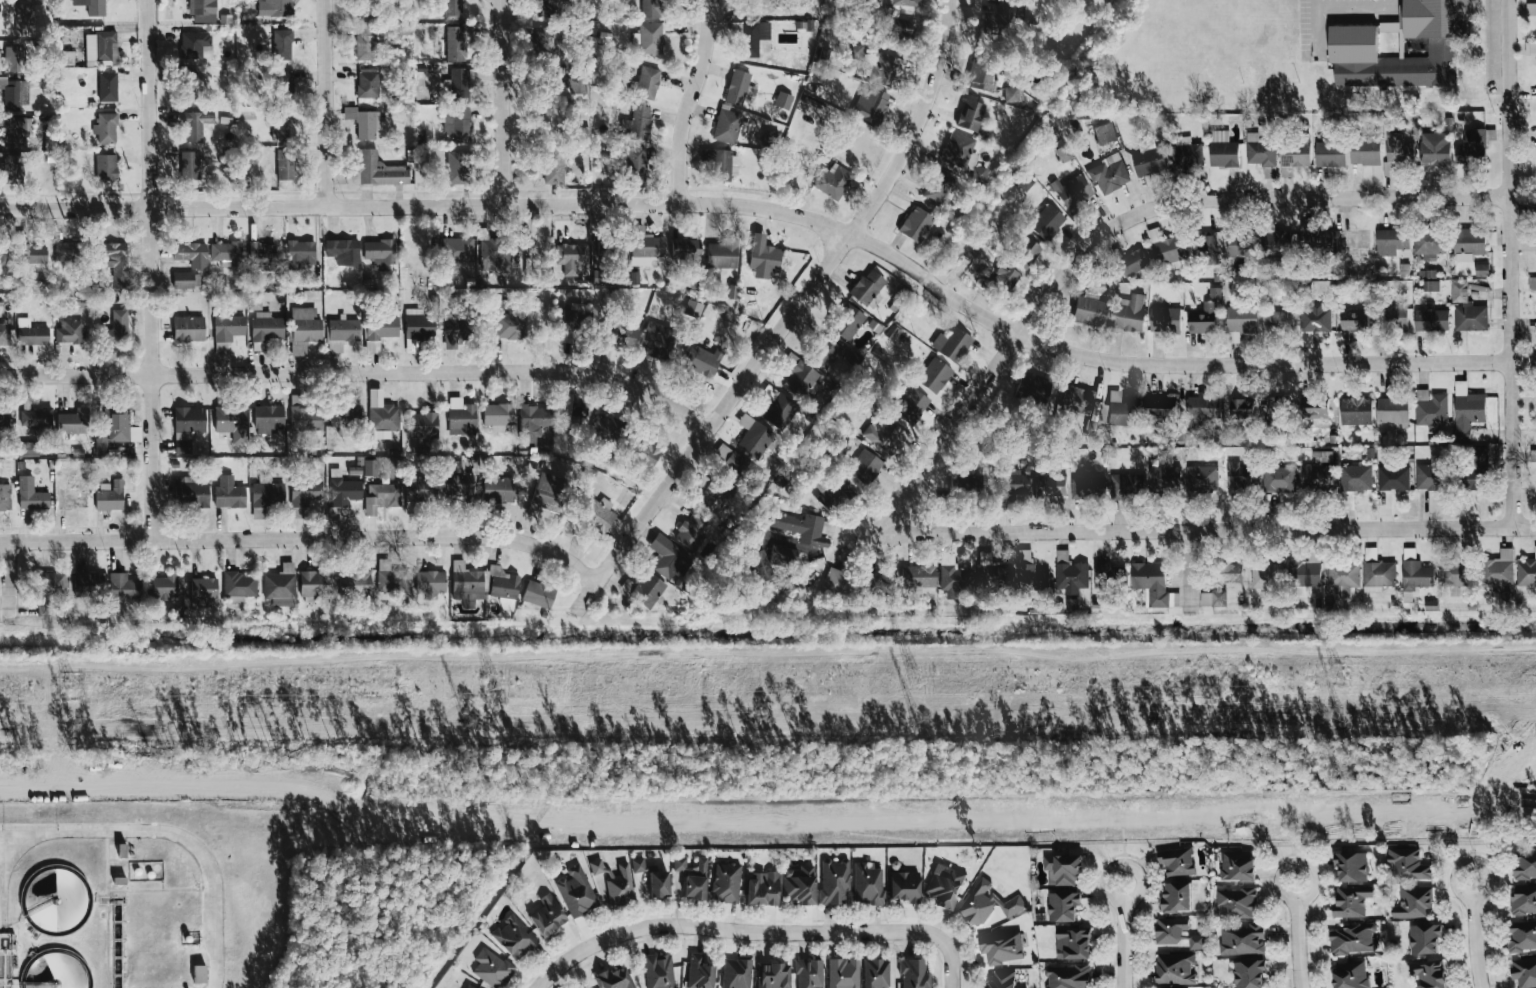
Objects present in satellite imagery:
building: (901, 2)
building: (644, 3)
building: (95, 7)
building: (272, 8)
road: (1354, 8)
building: (451, 9)
building: (1014, 11)
building: (24, 18)
building: (987, 25)
building: (1387, 27)
building: (900, 29)
building: (750, 37)
building: (647, 38)
building: (366, 41)
building: (538, 41)
building: (279, 43)
building: (452, 43)
building: (196, 45)
building: (100, 48)
building: (1348, 48)
building: (15, 59)
building: (978, 77)
building: (280, 80)
building: (576, 80)
building: (453, 81)
building: (645, 81)
building: (365, 82)
building: (735, 86)
building: (109, 87)
building: (1012, 93)
building: (15, 94)
building: (781, 99)
road: (690, 101)
road: (327, 103)
road: (502, 103)
building: (865, 104)
building: (347, 112)
building: (968, 114)
building: (192, 123)
building: (454, 123)
building: (635, 123)
building: (364, 124)
building: (725, 125)
building: (102, 127)
building: (15, 132)
building: (1103, 132)
building: (1471, 143)
building: (1396, 148)
building: (1431, 148)
building: (1220, 149)
building: (1258, 151)
building: (1292, 151)
building: (1361, 151)
building: (1185, 153)
building: (1327, 153)
building: (961, 155)
building: (1146, 161)
building: (630, 163)
building: (10, 164)
building: (187, 164)
building: (551, 164)
building: (721, 164)
building: (103, 165)
building: (377, 169)
building: (1284, 171)
building: (1107, 173)
building: (830, 180)
building: (931, 186)
building: (1069, 192)
road: (775, 211)
building: (1045, 221)
building: (913, 224)
road: (1119, 228)
building: (1319, 240)
building: (1389, 241)
building: (1427, 242)
building: (1466, 242)
building: (1232, 244)
building: (643, 246)
building: (1206, 246)
building: (1160, 247)
building: (682, 248)
building: (338, 249)
building: (224, 250)
building: (258, 252)
building: (378, 252)
building: (1022, 252)
building: (28, 253)
building: (188, 253)
building: (297, 253)
building: (455, 253)
building: (760, 253)
building: (718, 254)
building: (495, 255)
building: (569, 256)
building: (110, 258)
building: (1131, 262)
road: (1512, 263)
road: (153, 268)
building: (180, 279)
building: (1000, 280)
building: (1427, 280)
building: (1530, 283)
building: (865, 286)
building: (1458, 291)
building: (0, 300)
building: (252, 303)
building: (691, 308)
building: (1086, 310)
building: (1127, 312)
building: (1313, 317)
building: (1238, 318)
building: (1469, 318)
building: (1163, 319)
building: (1351, 319)
building: (1429, 319)
building: (1275, 320)
building: (845, 321)
building: (508, 323)
building: (416, 324)
building: (449, 324)
building: (225, 326)
building: (264, 326)
building: (113, 327)
building: (186, 328)
building: (302, 328)
building: (342, 329)
road: (782, 329)
building: (377, 330)
building: (67, 331)
building: (28, 332)
building: (3, 334)
building: (618, 334)
building: (1232, 337)
building: (652, 339)
building: (950, 343)
building: (823, 352)
building: (696, 359)
building: (1531, 361)
building: (1535, 366)
road: (437, 372)
road: (77, 375)
building: (932, 375)
building: (799, 381)
building: (1029, 384)
building: (1079, 401)
building: (908, 404)
building: (1160, 406)
building: (1237, 406)
building: (1200, 408)
building: (1114, 409)
building: (1429, 409)
building: (1353, 410)
building: (1464, 410)
building: (1391, 412)
building: (495, 415)
building: (575, 415)
building: (4, 417)
building: (35, 417)
building: (458, 417)
building: (227, 418)
building: (266, 418)
building: (381, 420)
building: (64, 422)
building: (526, 423)
building: (418, 424)
building: (184, 427)
building: (118, 428)
building: (878, 435)
building: (751, 436)
building: (639, 452)
building: (1531, 455)
building: (729, 463)
building: (862, 466)
building: (1162, 474)
building: (1237, 475)
building: (1425, 475)
building: (1315, 476)
building: (1200, 477)
building: (1277, 477)
building: (1353, 477)
building: (1391, 478)
building: (1469, 479)
building: (963, 480)
building: (1009, 481)
building: (495, 482)
building: (1087, 482)
building: (193, 491)
building: (228, 492)
building: (308, 493)
building: (110, 496)
building: (5, 498)
building: (33, 499)
building: (335, 510)
building: (595, 512)
building: (803, 528)
building: (692, 531)
road: (1205, 532)
road: (385, 534)
road: (80, 538)
building: (784, 555)
building: (669, 558)
building: (761, 565)
building: (1498, 570)
building: (1306, 571)
building: (1031, 572)
building: (1526, 572)
building: (1070, 573)
road: (1193, 573)
building: (1414, 574)
building: (1455, 574)
building: (995, 575)
building: (1108, 575)
building: (1378, 575)
building: (918, 576)
building: (1267, 576)
building: (391, 577)
building: (837, 580)
building: (955, 580)
building: (1343, 580)
building: (355, 581)
building: (1225, 581)
building: (1535, 582)
building: (430, 583)
building: (467, 583)
building: (89, 584)
building: (315, 584)
building: (503, 584)
building: (238, 585)
building: (280, 585)
building: (872, 585)
road: (13, 586)
building: (123, 586)
building: (164, 587)
building: (49, 590)
building: (648, 590)
building: (538, 594)
power tower: (1338, 676)
power tower: (915, 678)
power tower: (493, 686)
power tower: (75, 689)
power tower: (1340, 713)
power tower: (915, 715)
power tower: (469, 718)
power tower: (72, 724)
road: (1018, 831)
road: (91, 834)
road: (1119, 837)
road: (1287, 842)
building: (1177, 861)
building: (638, 864)
building: (1408, 864)
building: (1237, 866)
building: (1351, 866)
building: (1524, 866)
building: (1063, 869)
building: (1535, 872)
building: (693, 877)
wastewater plant: (197, 878)
building: (616, 881)
building: (834, 881)
building: (726, 882)
building: (659, 883)
building: (868, 883)
building: (800, 884)
building: (945, 885)
building: (905, 886)
building: (762, 887)
building: (1535, 890)
building: (577, 891)
building: (1176, 896)
building: (1523, 900)
road: (219, 902)
building: (1236, 903)
building: (1413, 903)
building: (986, 904)
building: (1063, 906)
road: (9, 912)
building: (548, 915)
building: (1535, 925)
road: (757, 931)
road: (1475, 933)
road: (1123, 934)
building: (1178, 934)
road: (1298, 935)
building: (514, 937)
building: (1521, 937)
building: (1424, 938)
building: (1352, 939)
building: (1242, 940)
building: (1073, 943)
building: (1000, 948)
building: (1535, 960)
building: (491, 968)
building: (1175, 969)
building: (659, 970)
building: (699, 972)
building: (1524, 972)
building: (199, 973)
building: (736, 973)
building: (809, 973)
building: (843, 973)
building: (876, 973)
building: (914, 973)
building: (1249, 973)
building: (1429, 974)
building: (773, 975)
building: (1350, 975)
building: (1067, 977)
building: (614, 978)
building: (1004, 980)
building: (468, 986)

